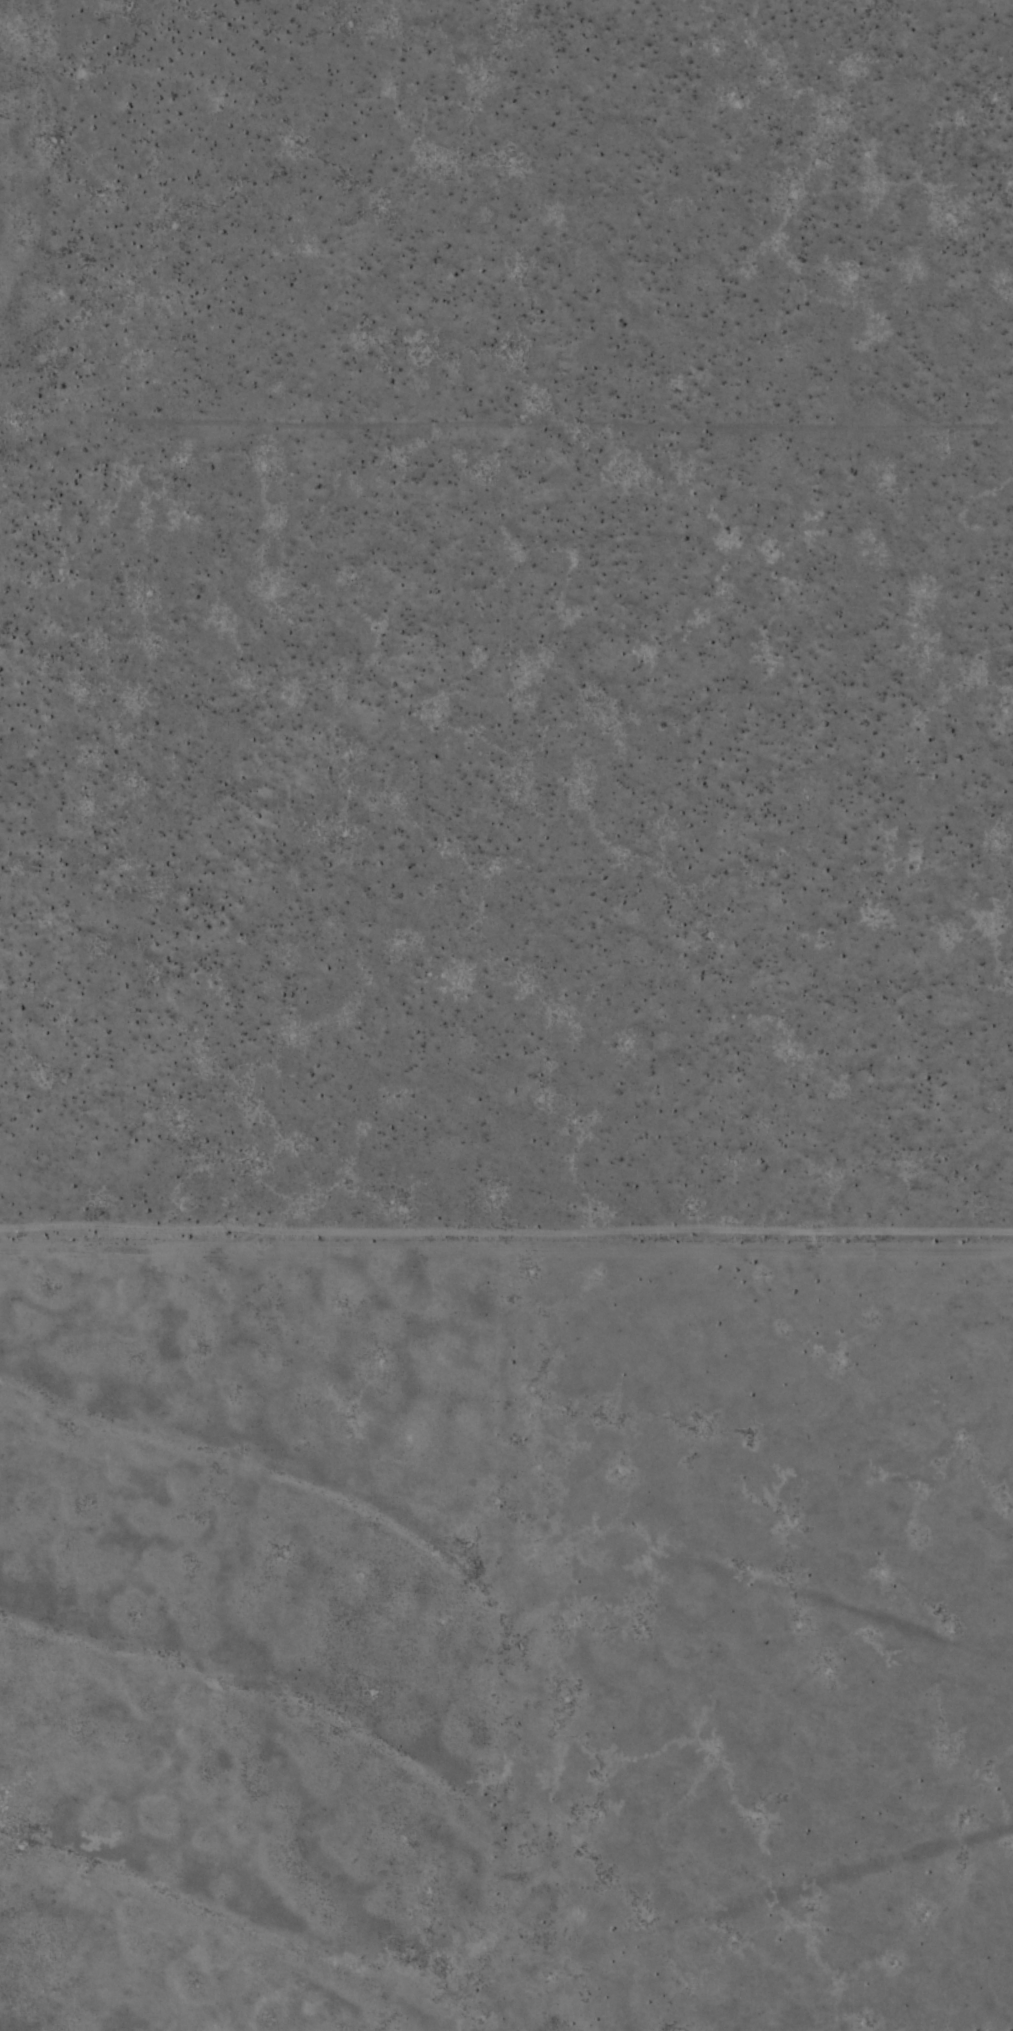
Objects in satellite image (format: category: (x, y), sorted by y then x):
road: (506, 424)

